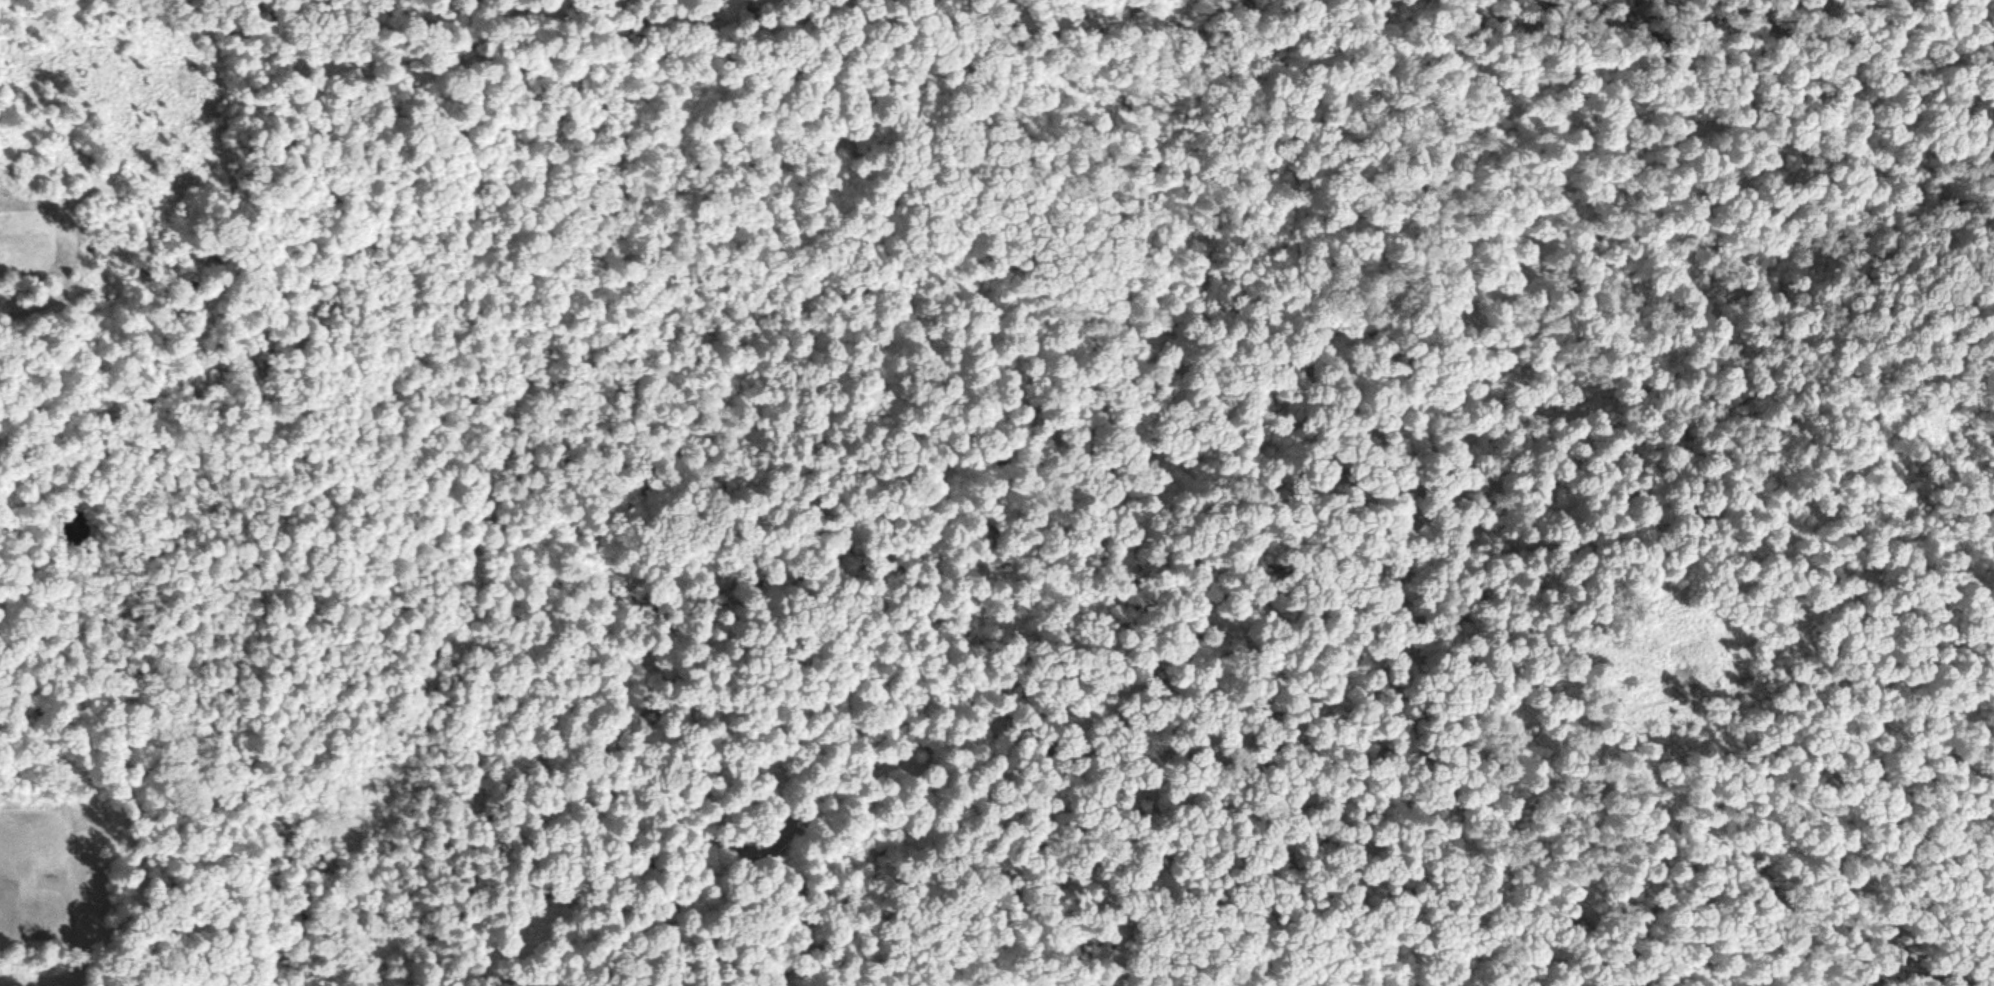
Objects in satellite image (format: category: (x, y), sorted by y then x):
road: (1592, 953)
road: (122, 983)

